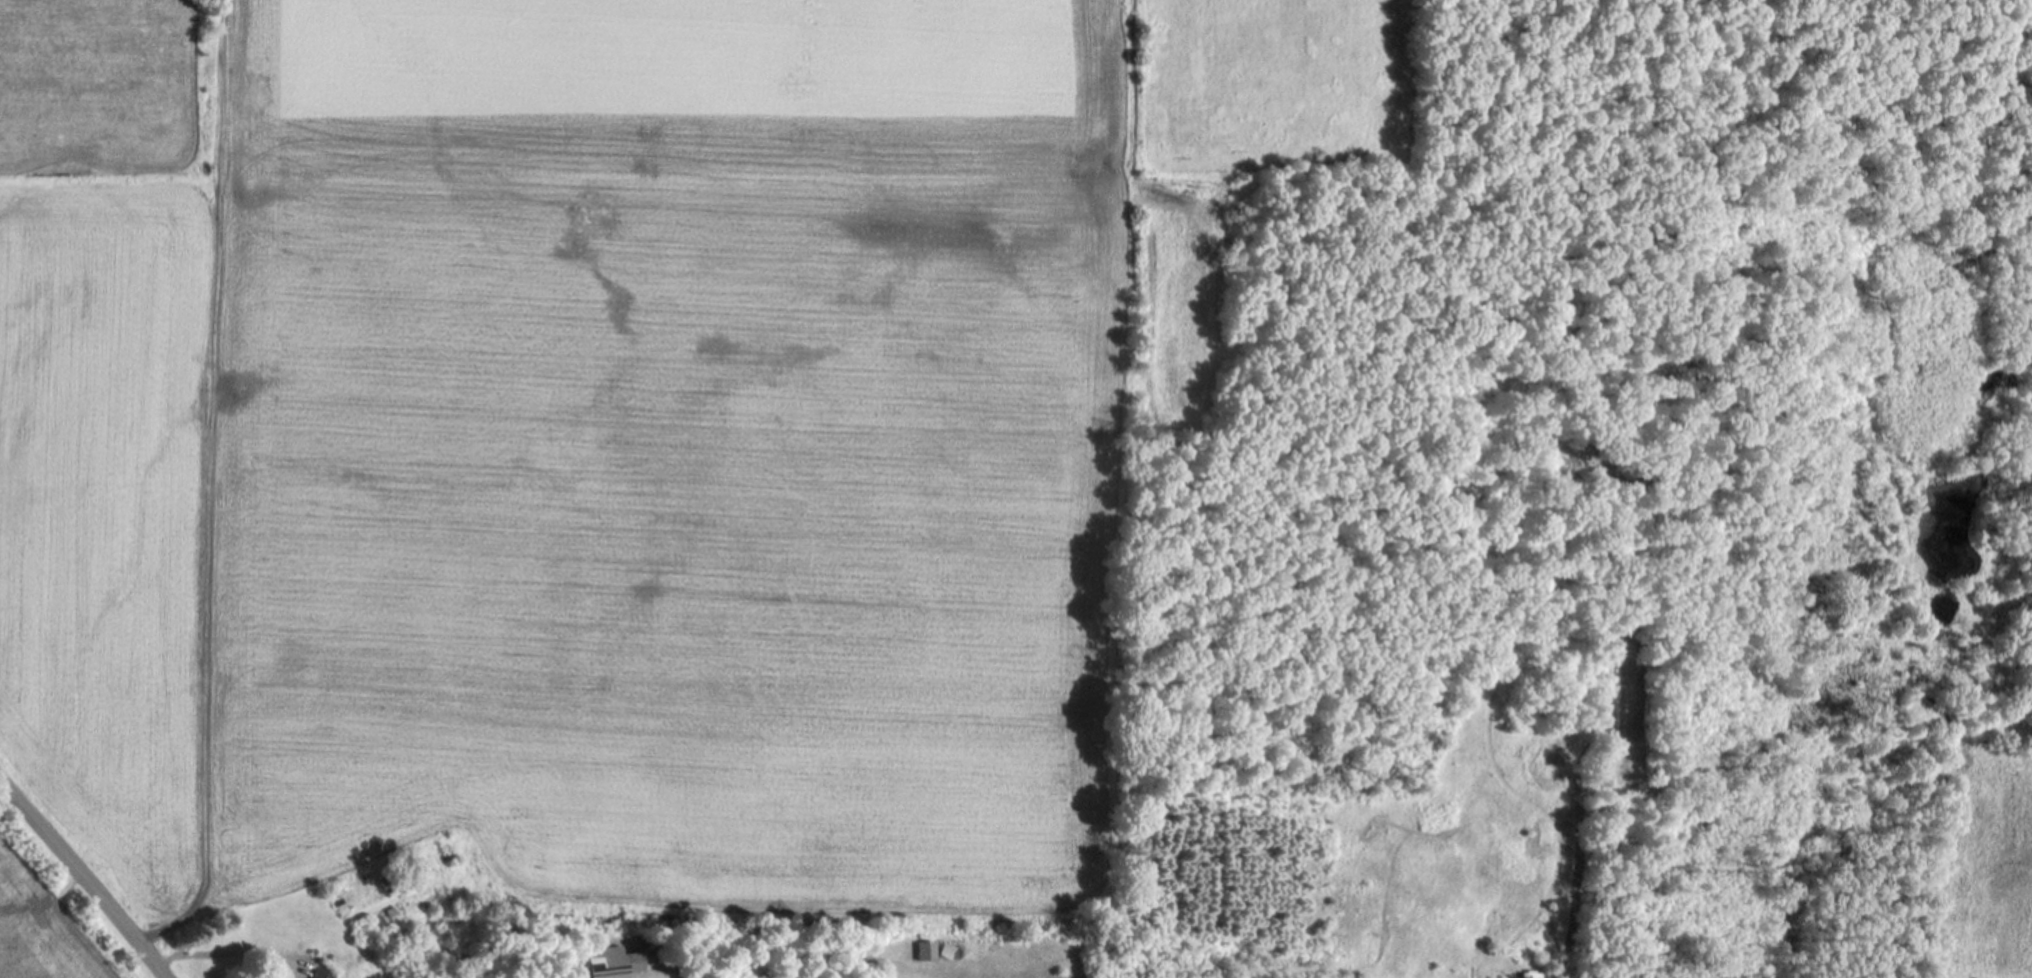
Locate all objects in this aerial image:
road: (80, 883)
building: (949, 950)
building: (612, 964)
building: (669, 969)
building: (321, 973)

